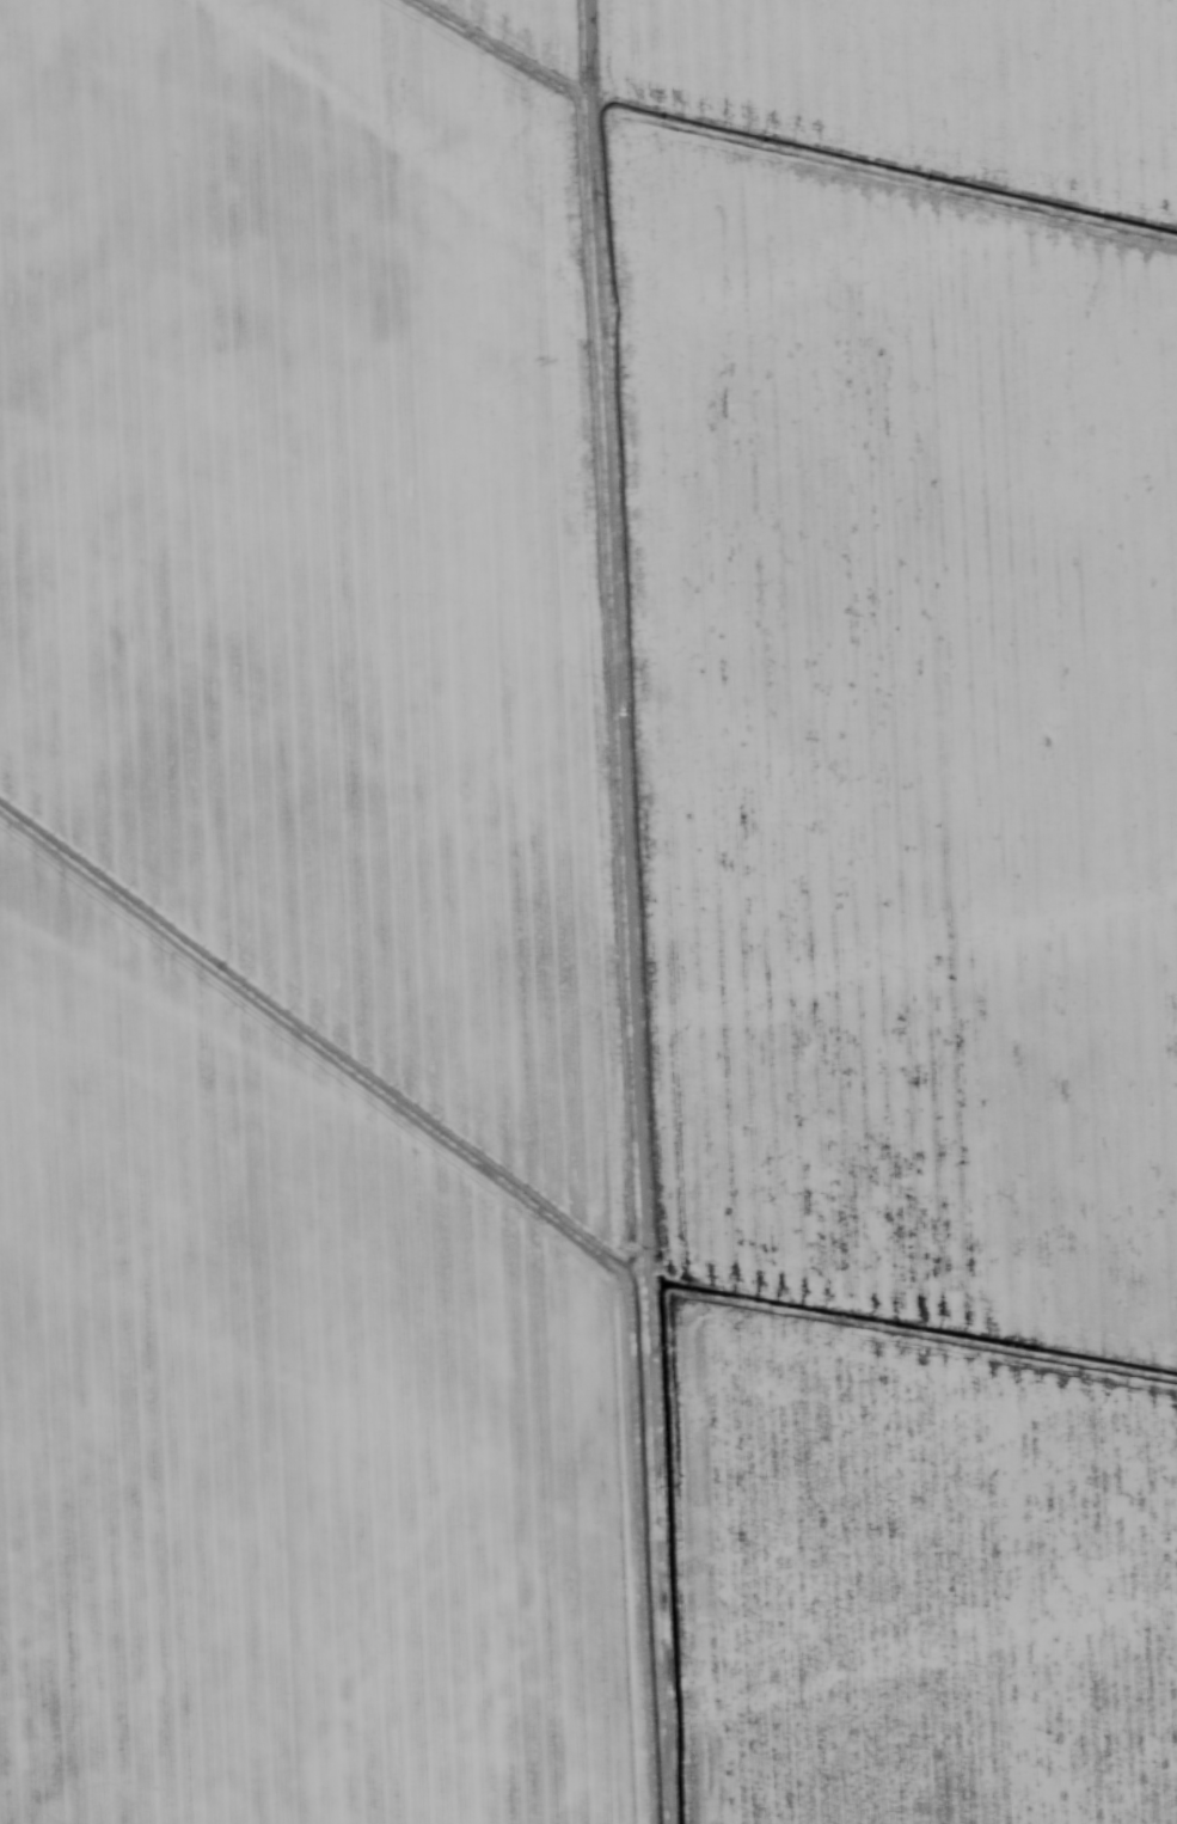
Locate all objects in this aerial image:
crop: (588, 912)

